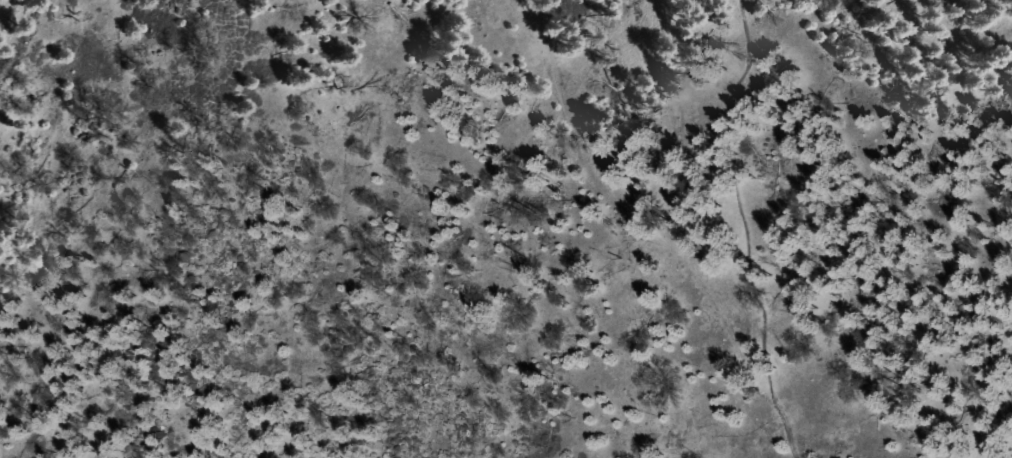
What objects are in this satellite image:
road: (719, 231)

